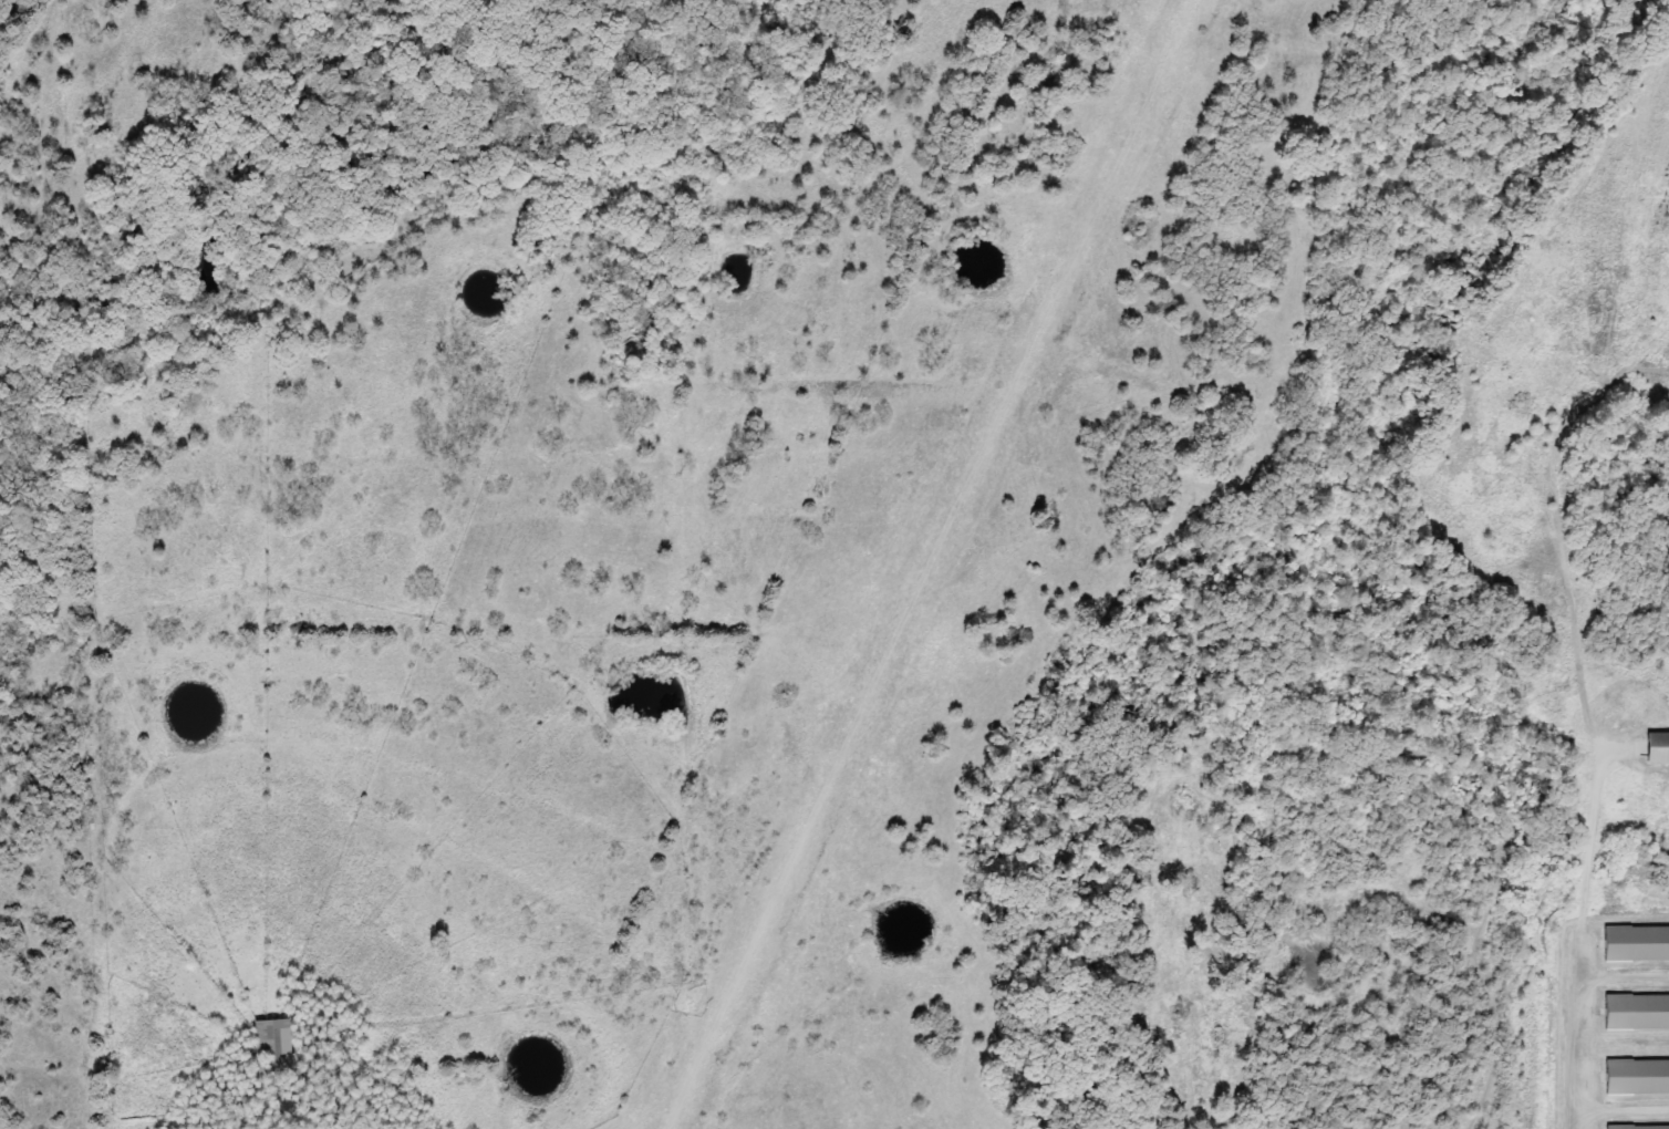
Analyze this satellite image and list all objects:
airport runway: (931, 564)
building: (1659, 748)
building: (1638, 943)
building: (1638, 1012)
building: (279, 1045)
building: (1638, 1077)
building: (1640, 1127)

